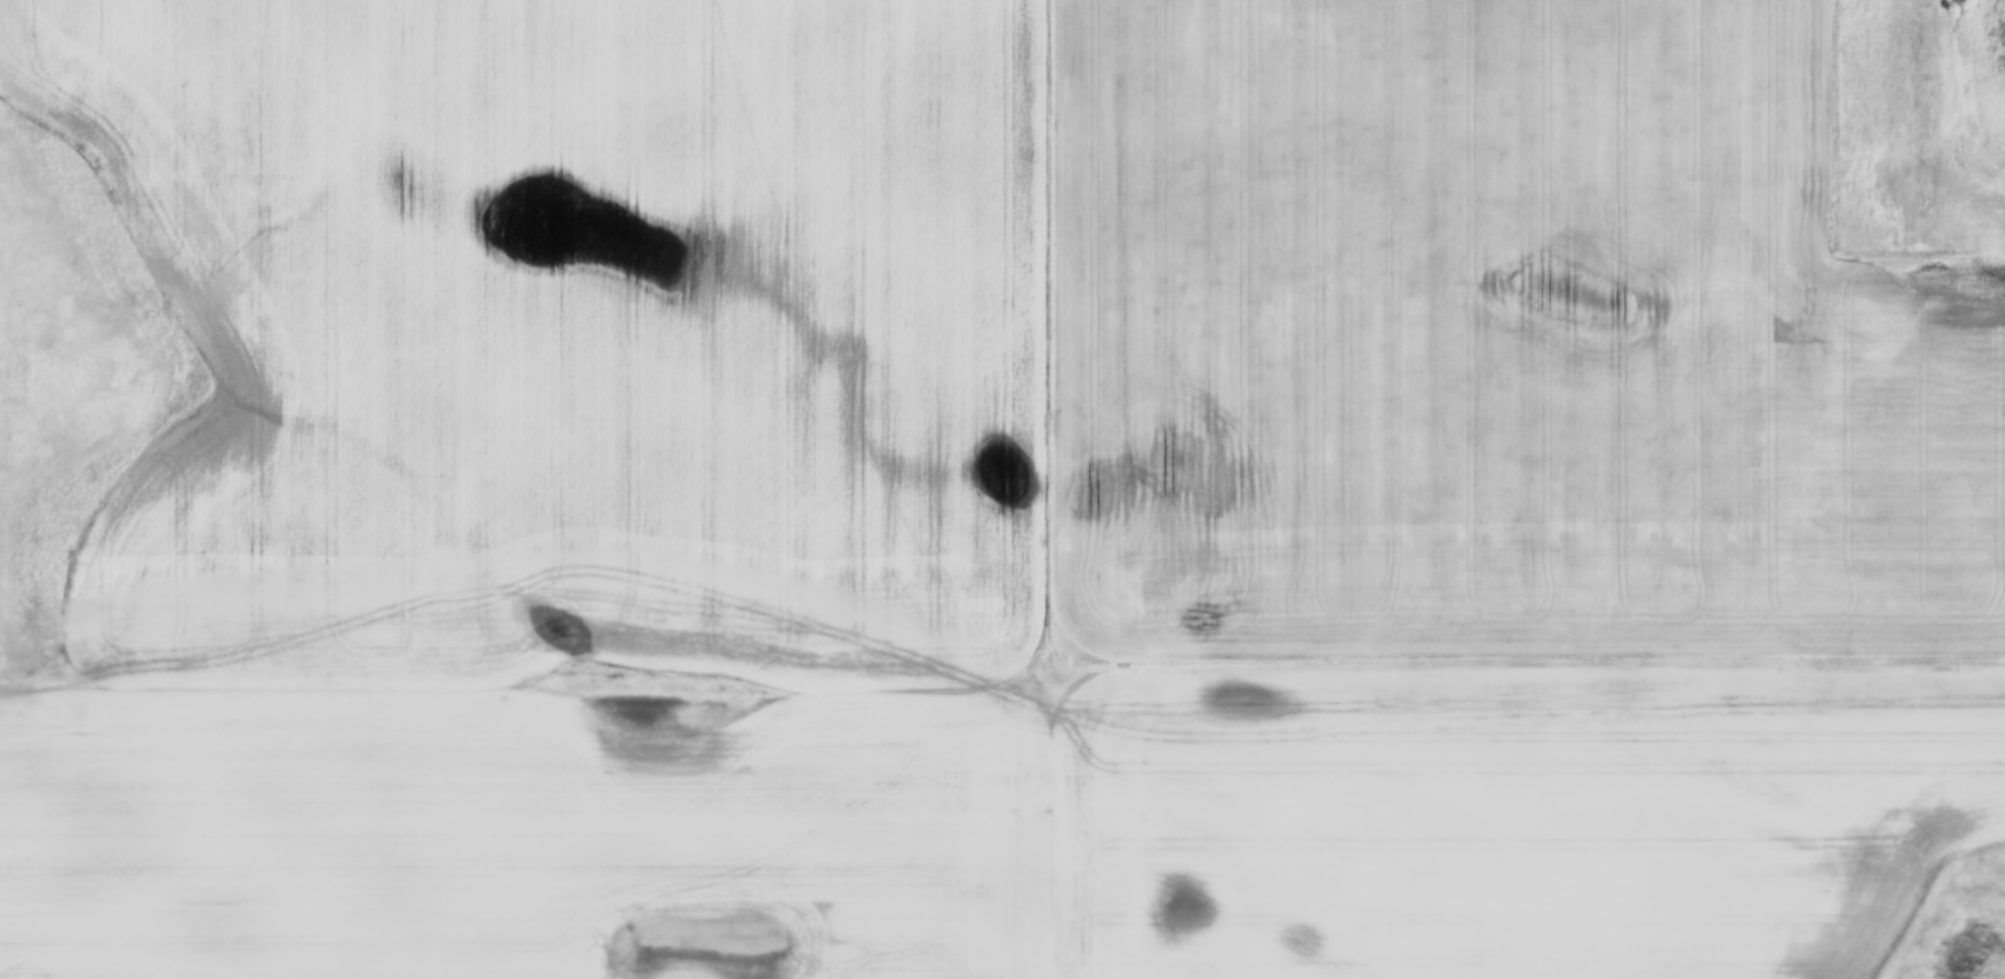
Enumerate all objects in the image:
road: (164, 407)

